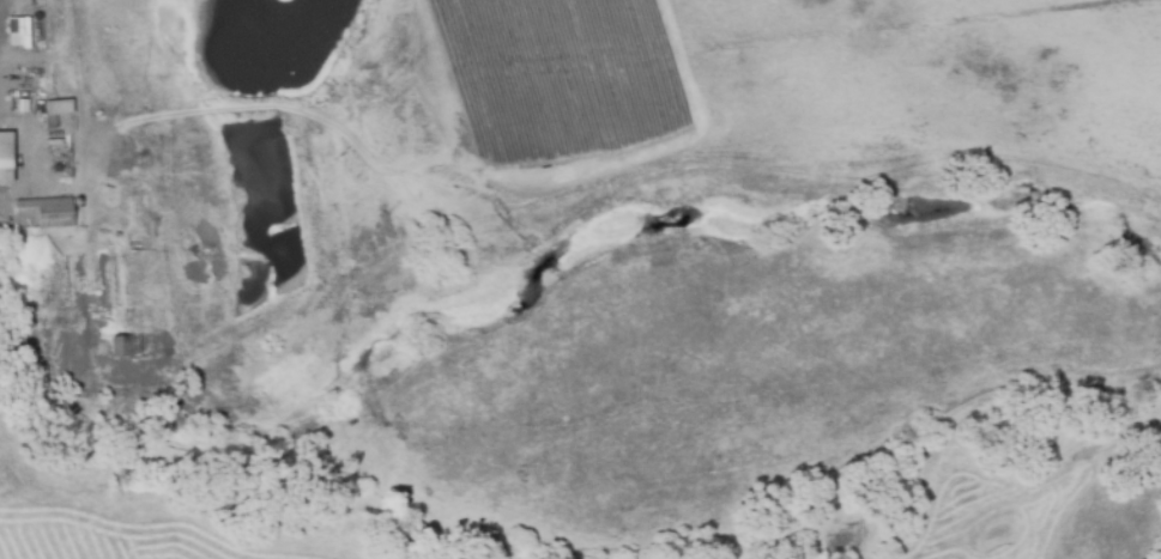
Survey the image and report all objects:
building: (61, 116)
building: (7, 158)
building: (52, 217)
building: (122, 345)
building: (131, 358)

